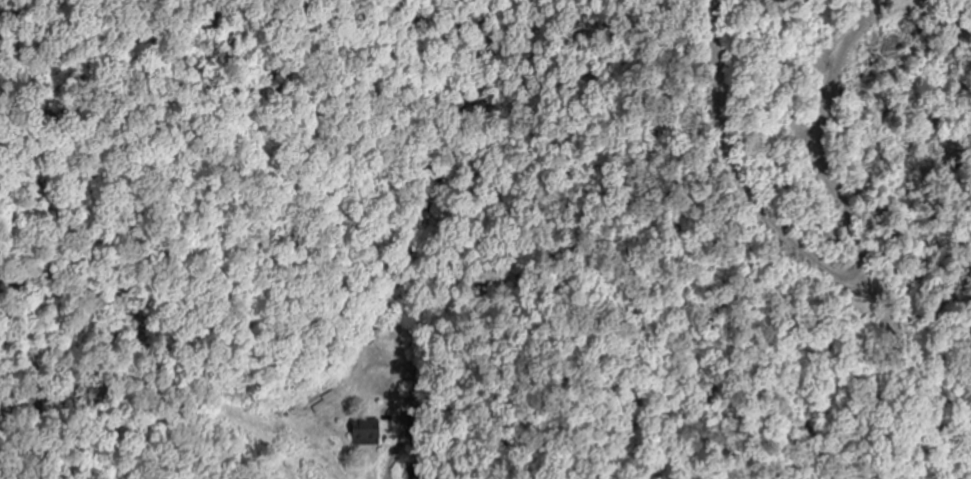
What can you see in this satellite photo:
building: (373, 433)

